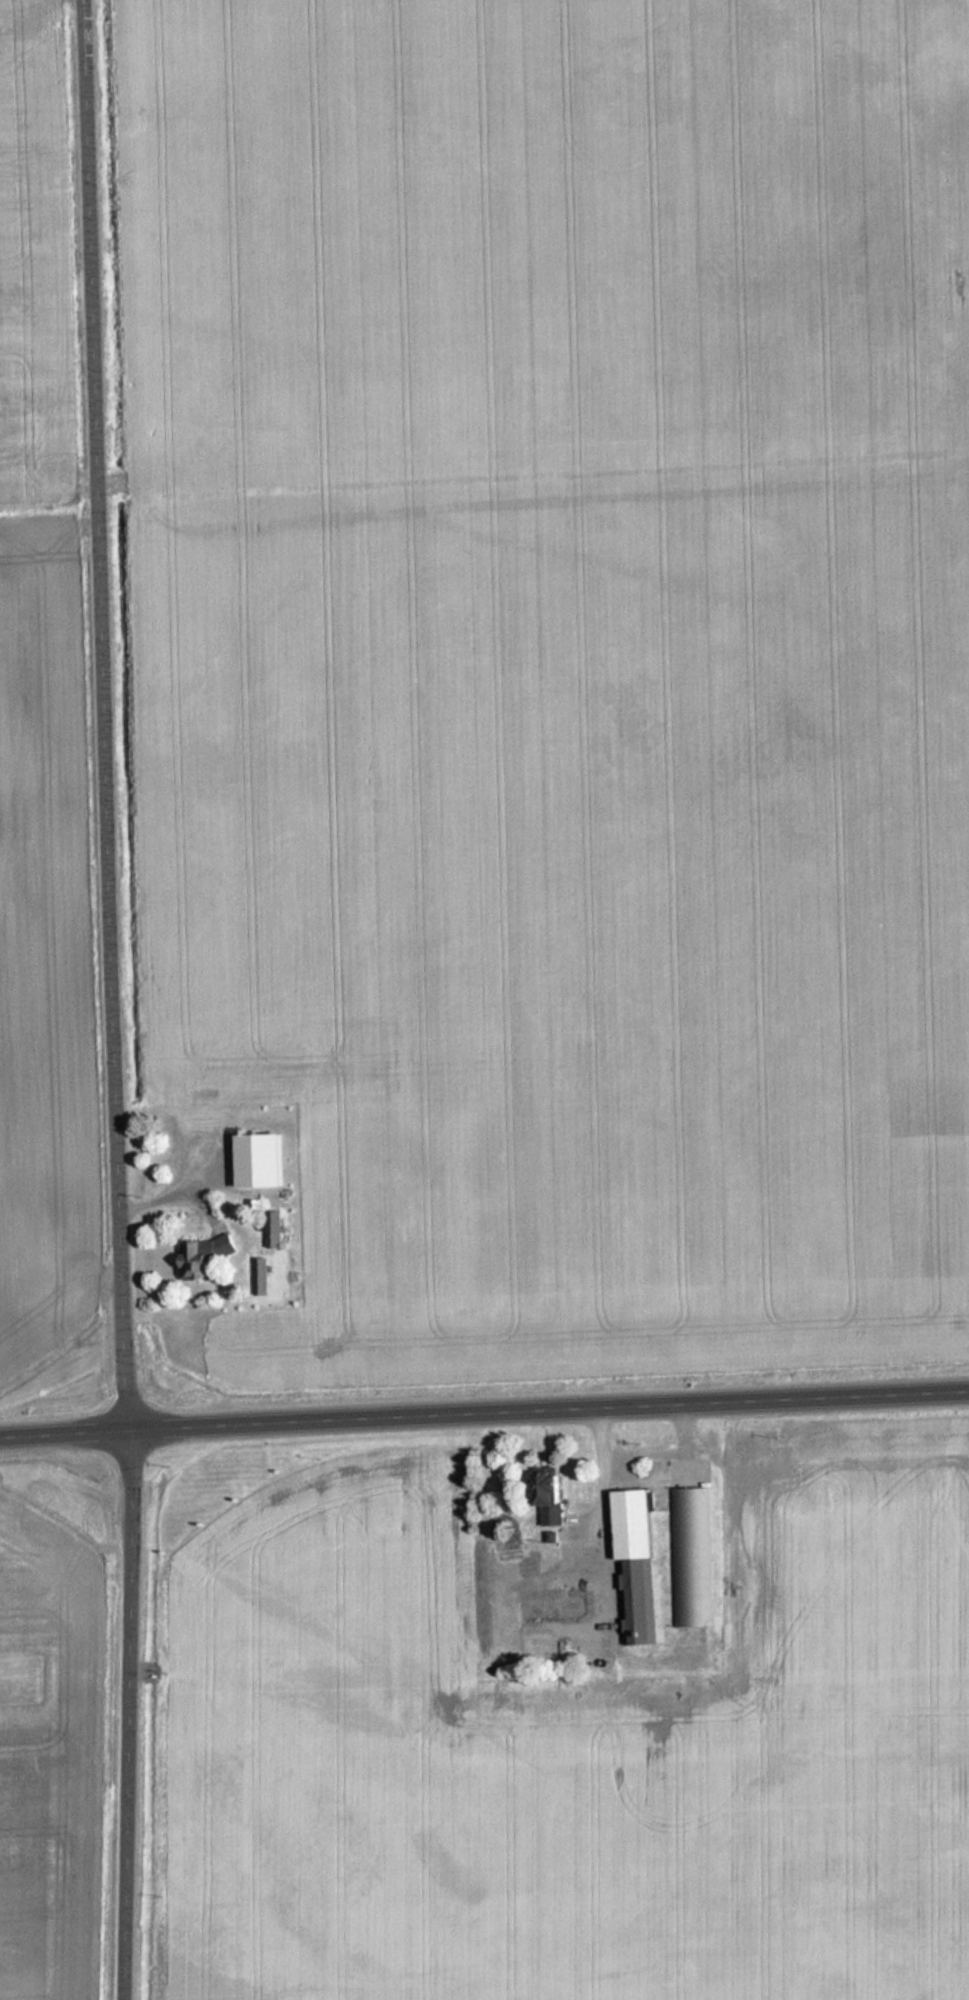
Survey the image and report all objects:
road: (111, 716)
building: (255, 1208)
building: (276, 1230)
building: (207, 1255)
building: (263, 1276)
road: (484, 1417)
building: (554, 1496)
building: (511, 1545)
building: (692, 1557)
building: (638, 1563)
building: (487, 1589)
road: (132, 1716)

